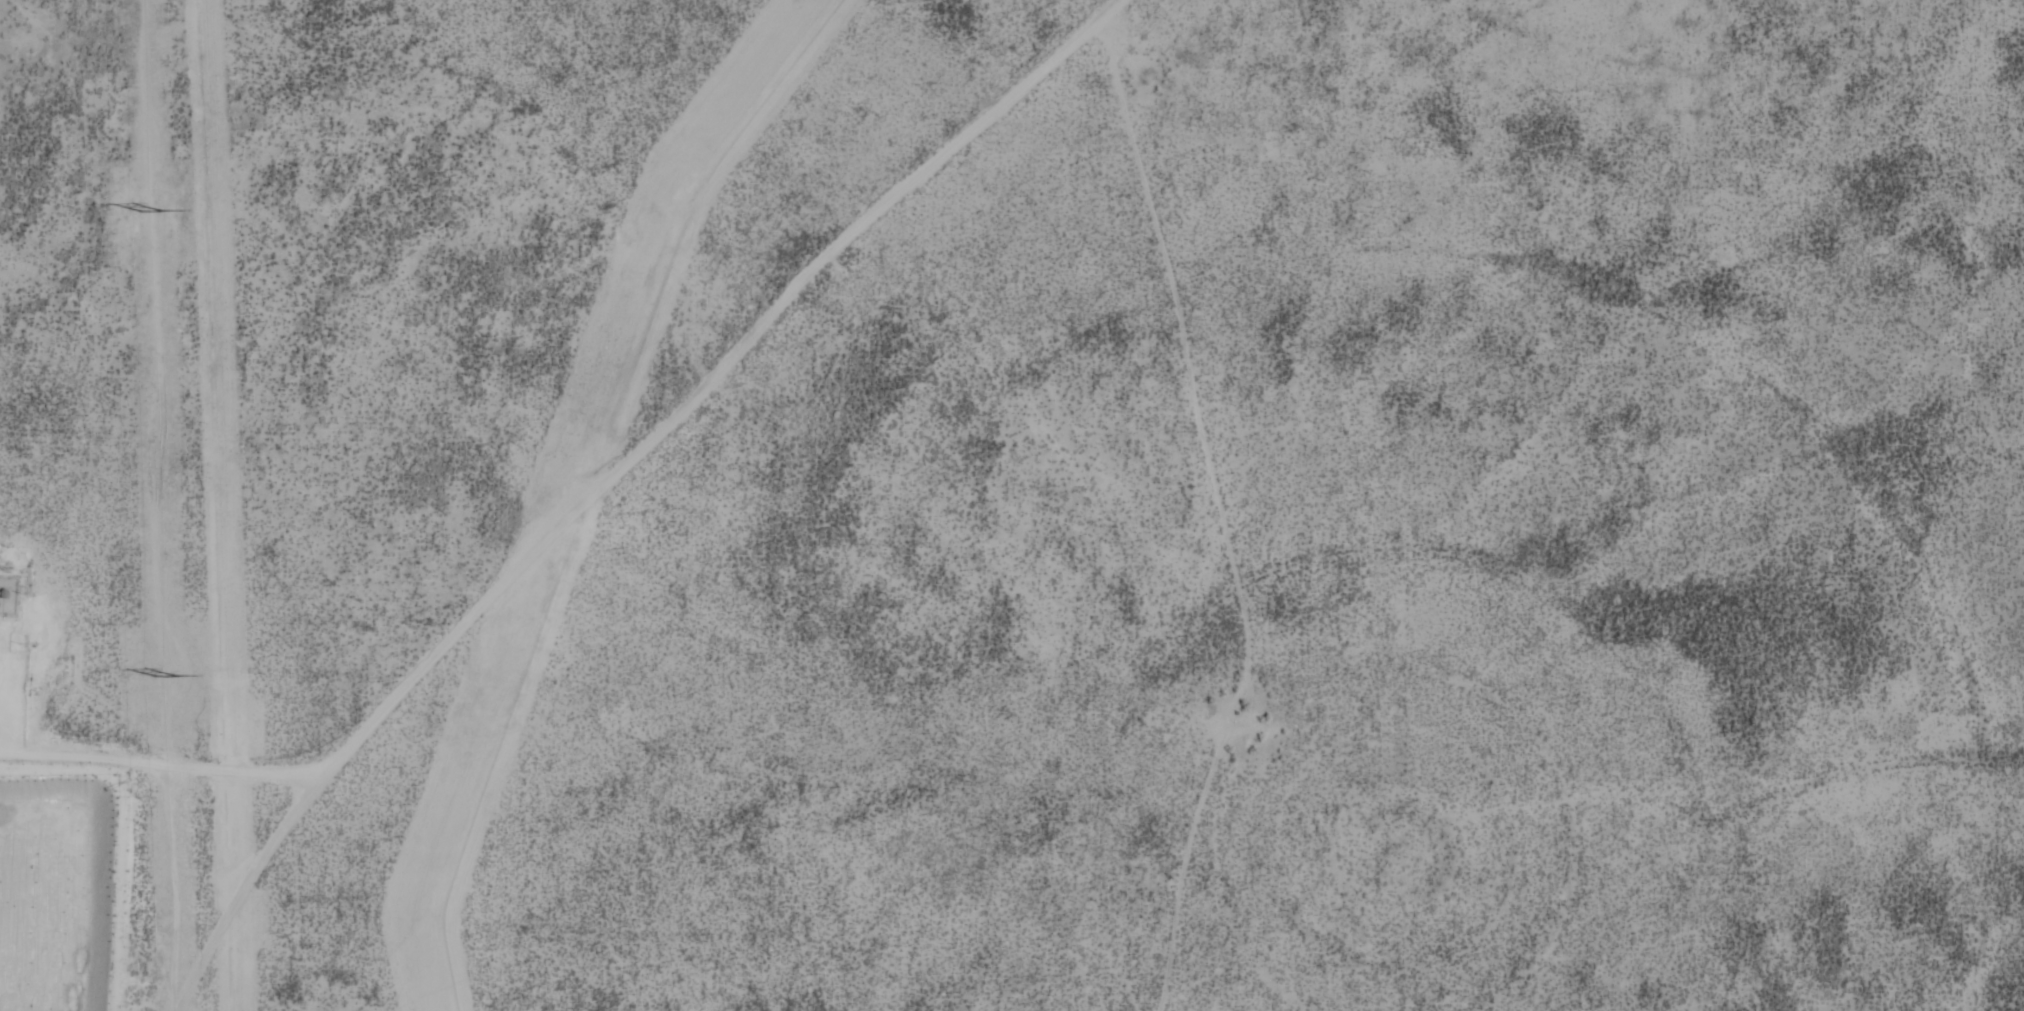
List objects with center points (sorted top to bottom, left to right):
power tower: (142, 212)
road: (619, 477)
power tower: (156, 674)
road: (166, 755)

